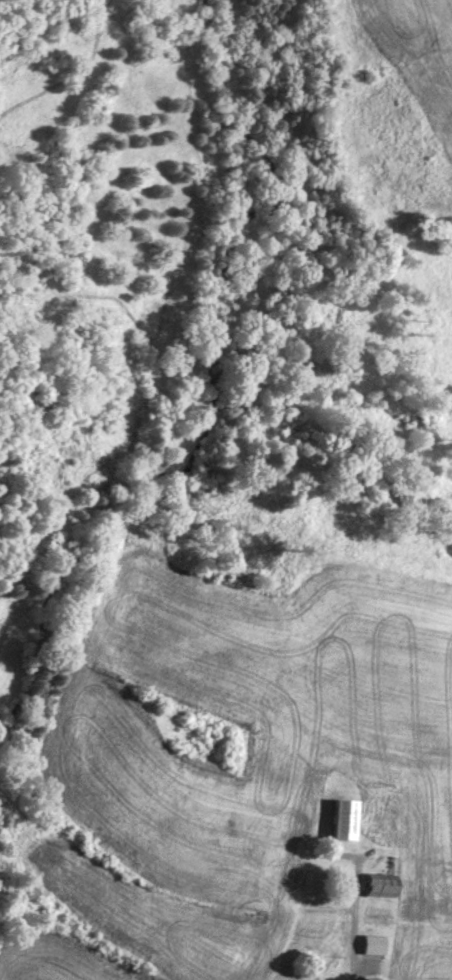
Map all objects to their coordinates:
building: (375, 890)
building: (369, 950)

